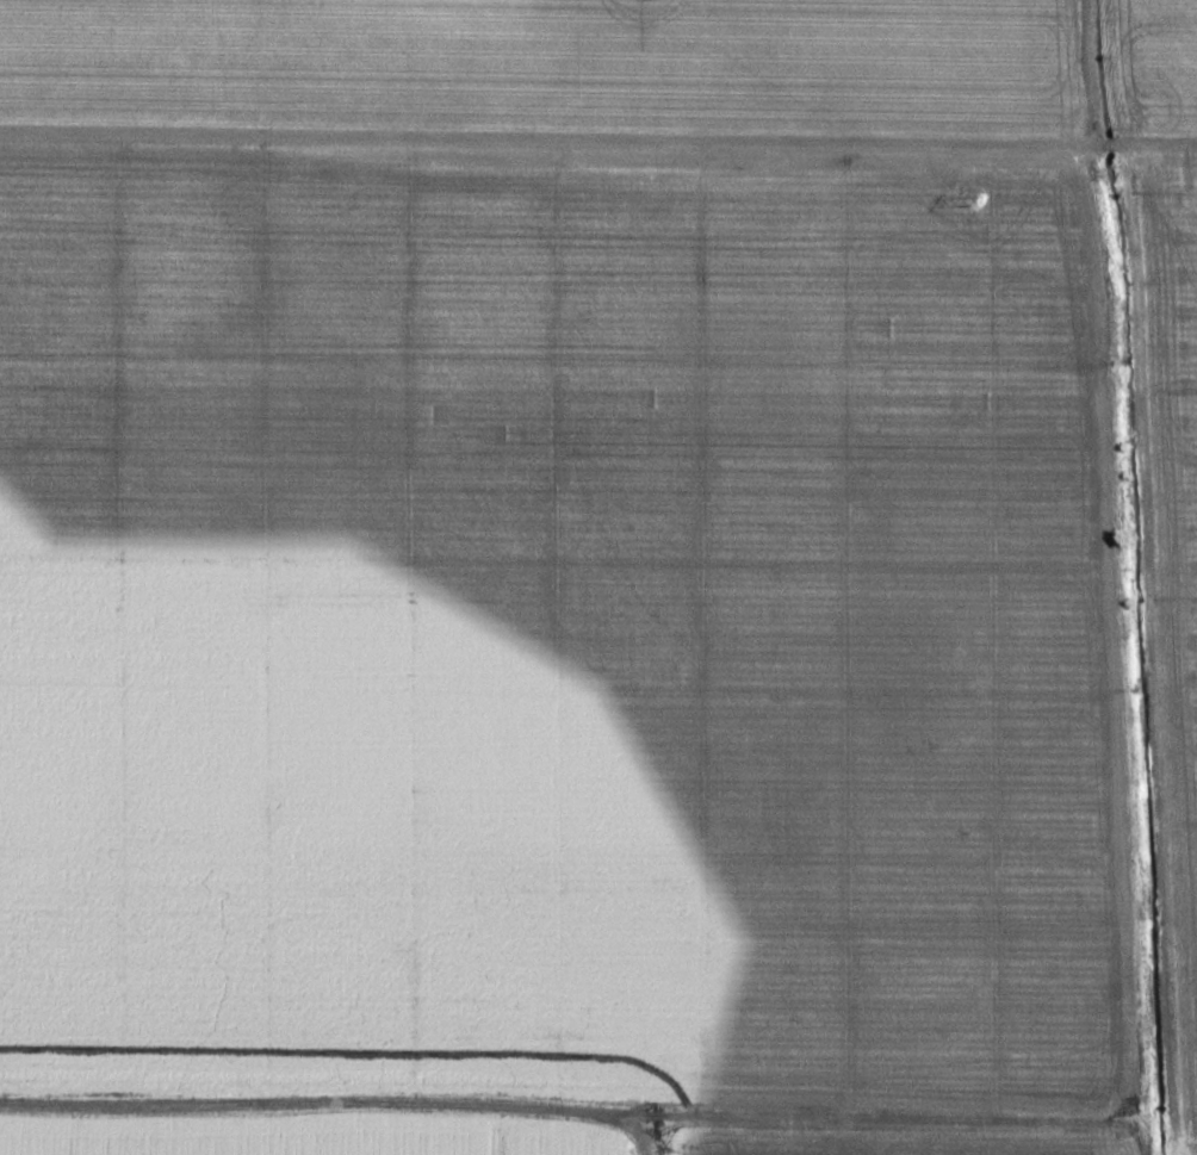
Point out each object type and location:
power tower: (973, 198)

